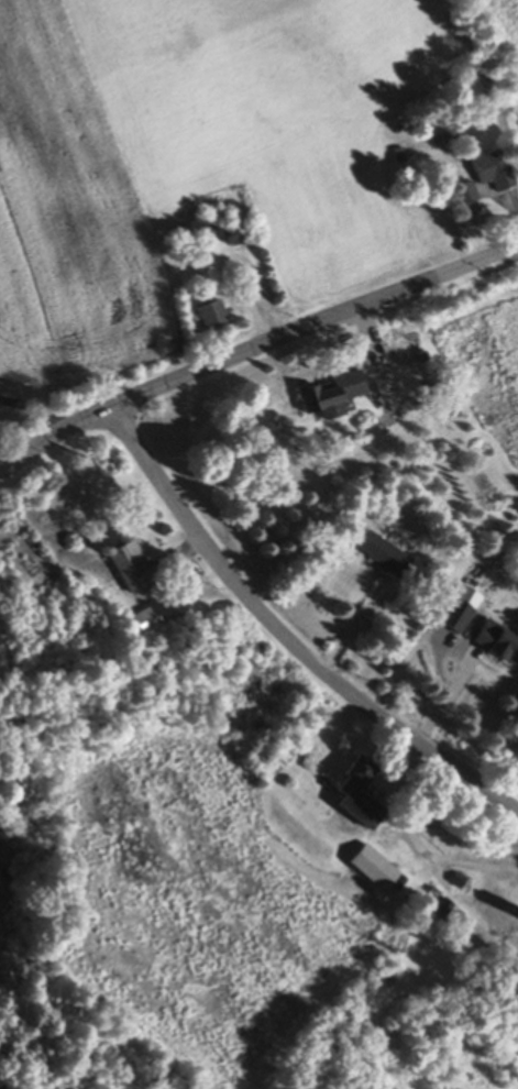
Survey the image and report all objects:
building: (486, 174)
building: (462, 197)
building: (203, 317)
road: (253, 351)
building: (324, 397)
road: (34, 409)
building: (377, 557)
building: (123, 569)
building: (450, 618)
building: (139, 623)
road: (286, 640)
building: (495, 646)
building: (351, 798)
building: (368, 870)
building: (477, 917)

